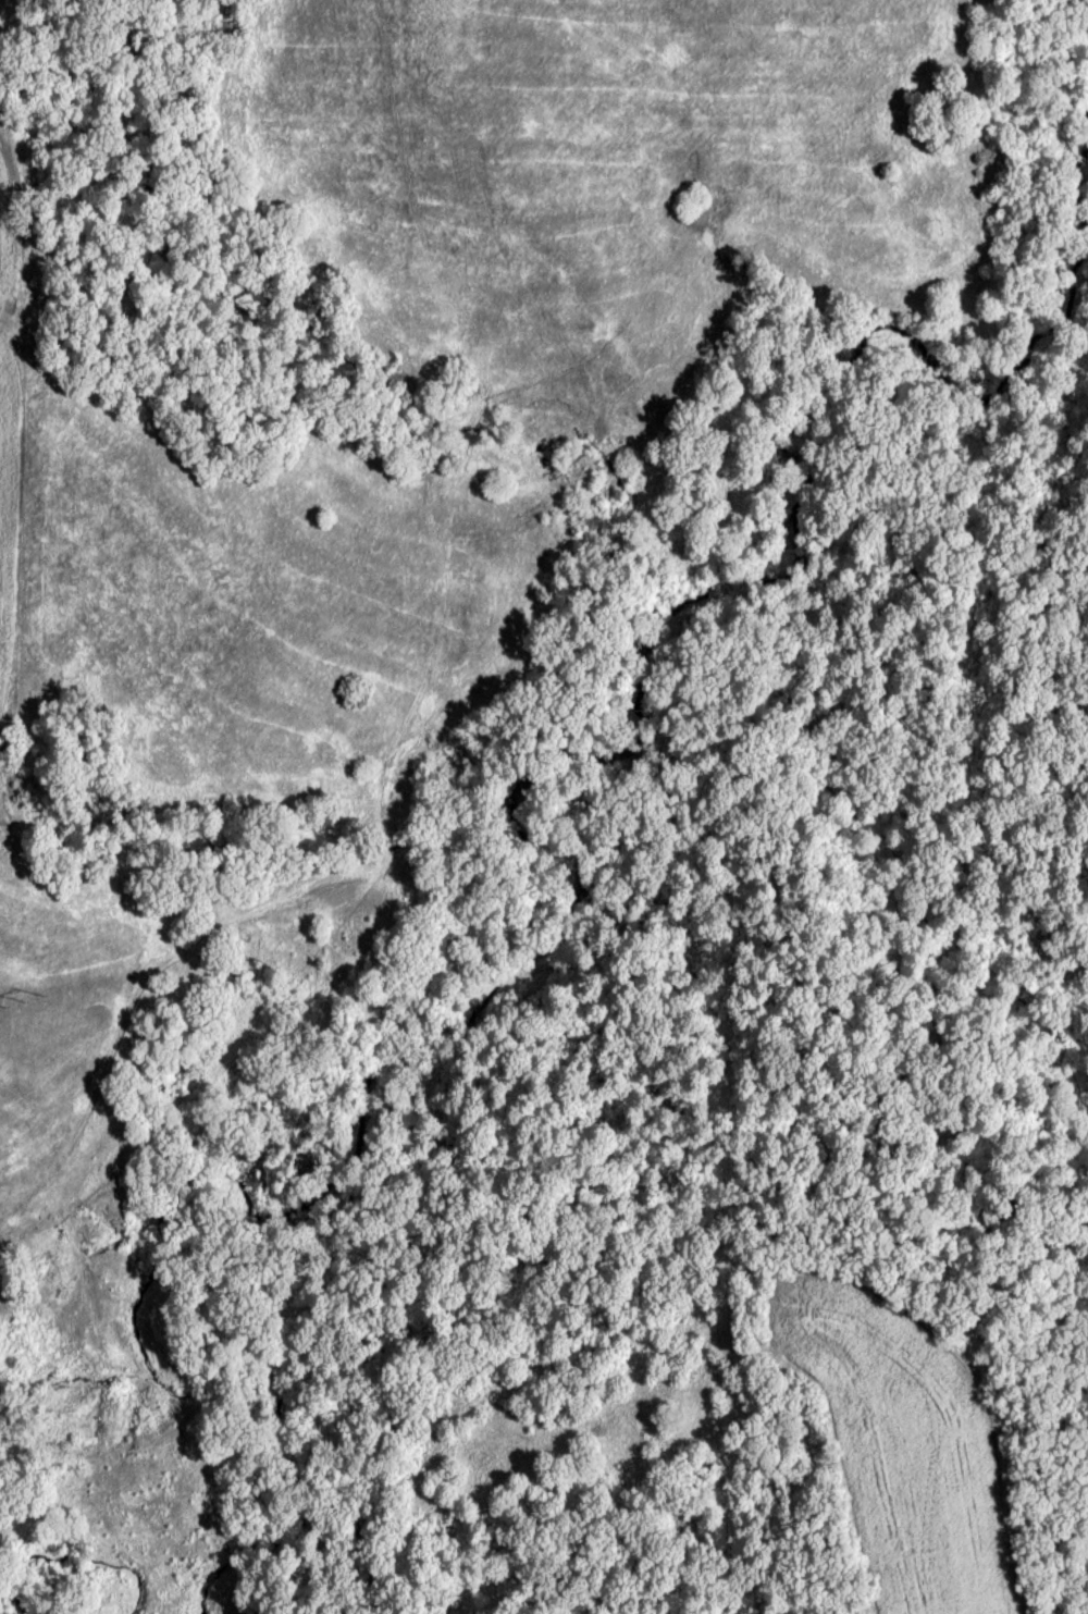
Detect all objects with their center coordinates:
power tower: (18, 1000)

